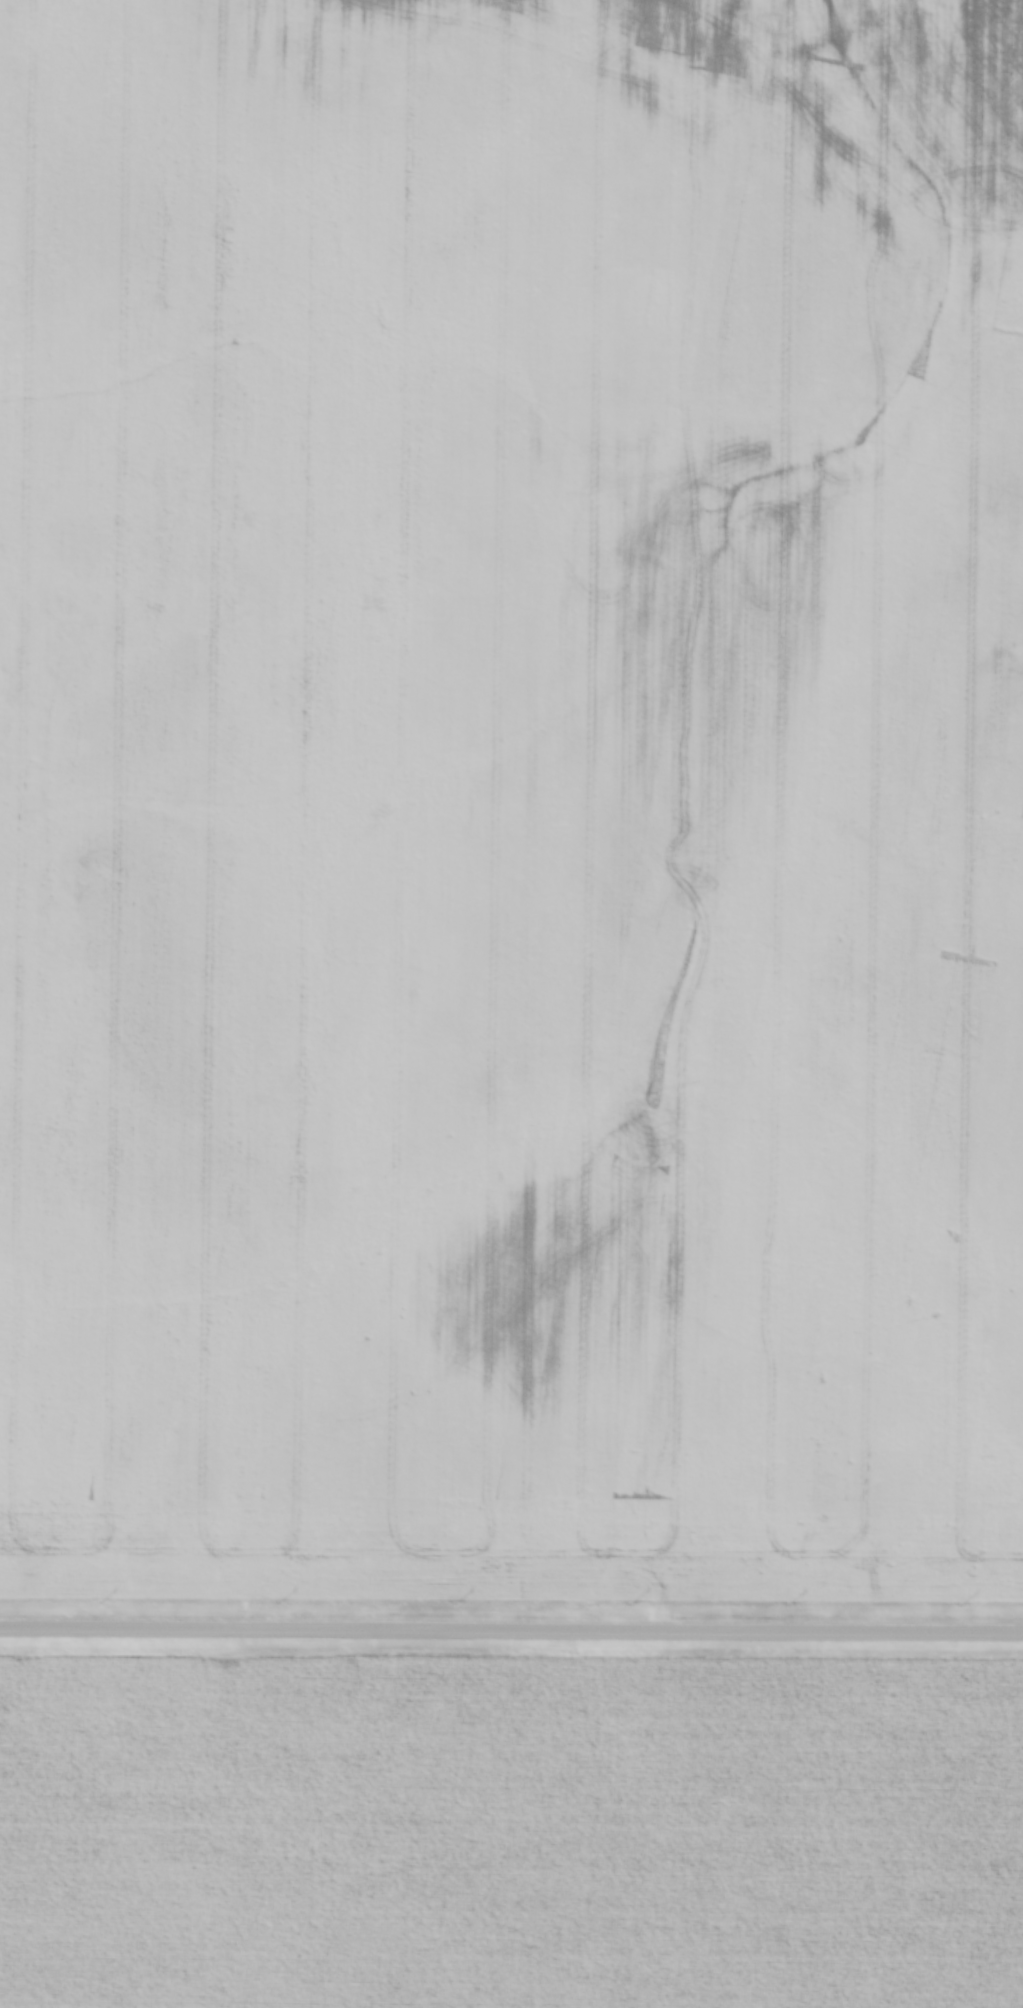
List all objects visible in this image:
road: (511, 1633)

